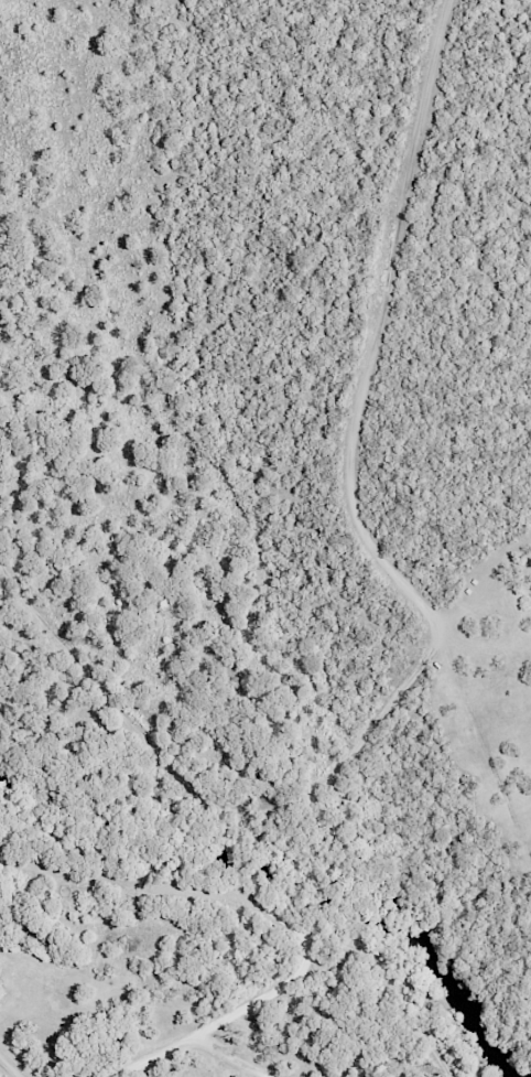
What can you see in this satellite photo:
road: (432, 627)
road: (281, 922)
road: (235, 1056)
road: (7, 1067)
building: (236, 1076)

